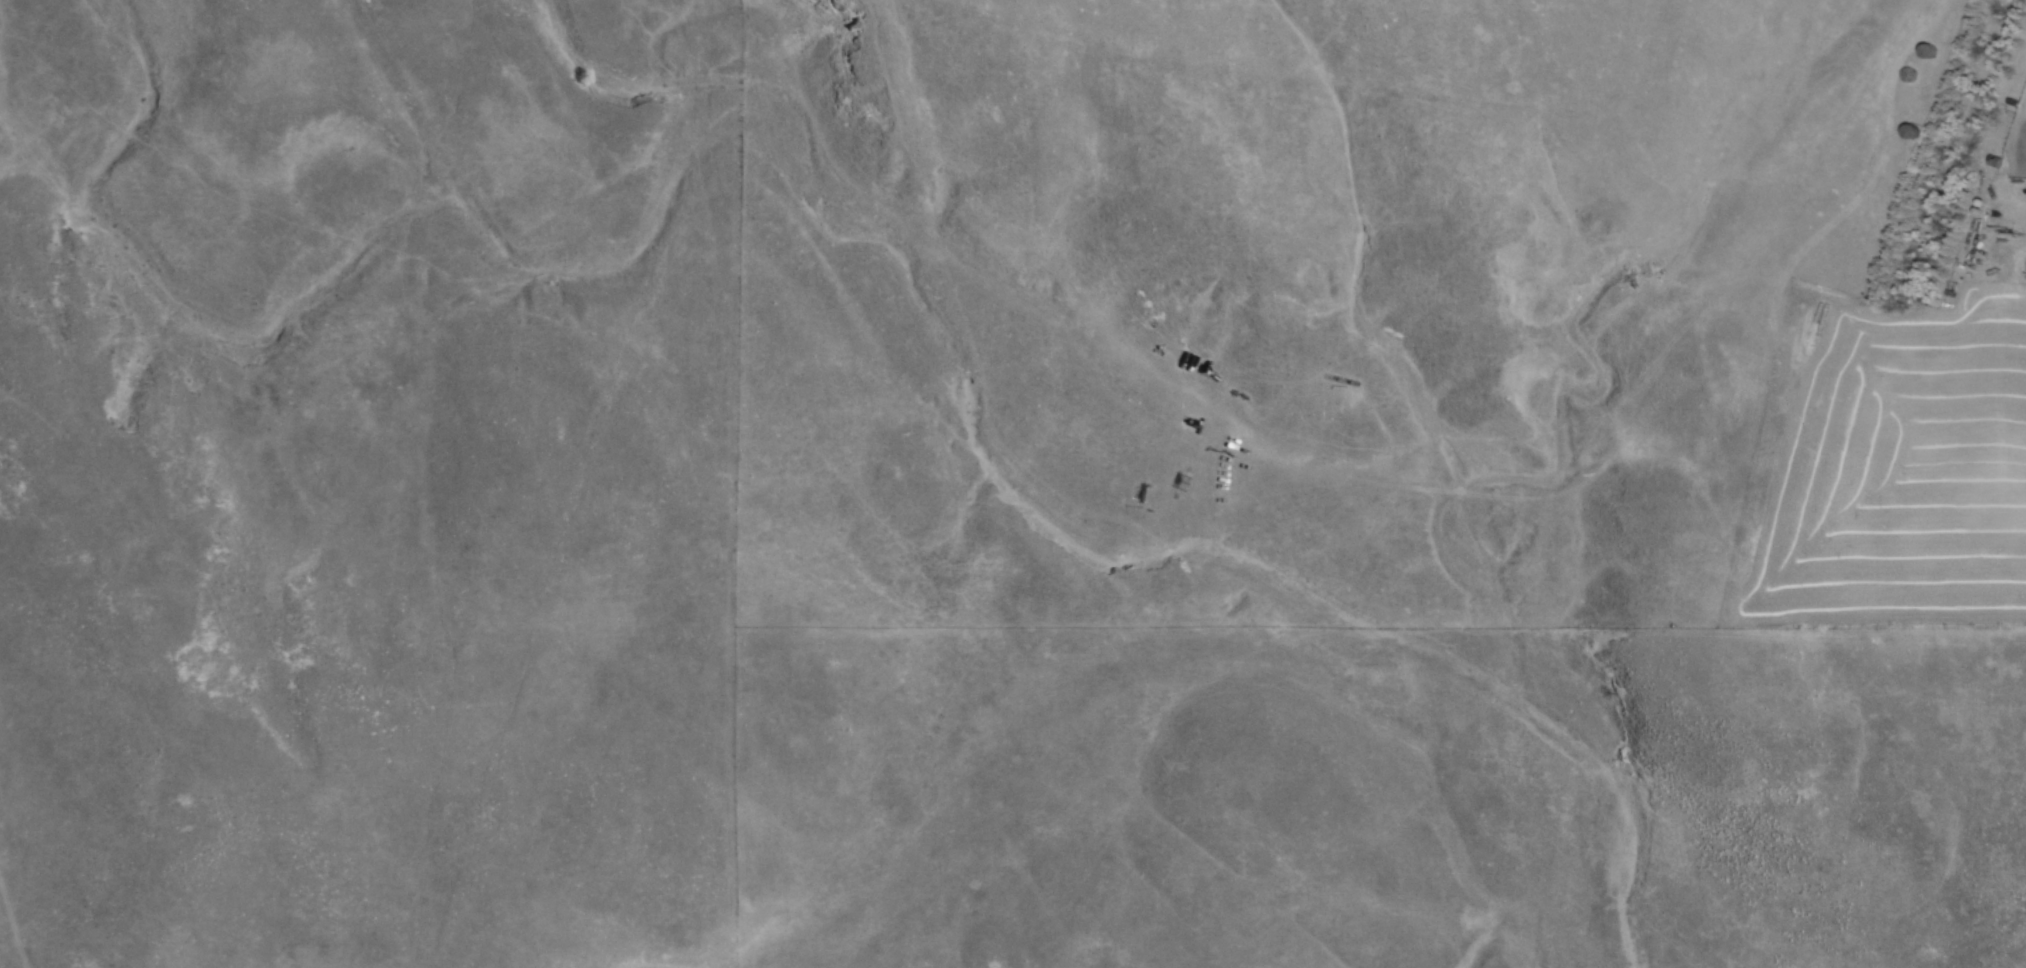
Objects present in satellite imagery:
building: (1929, 48)
building: (1912, 129)

